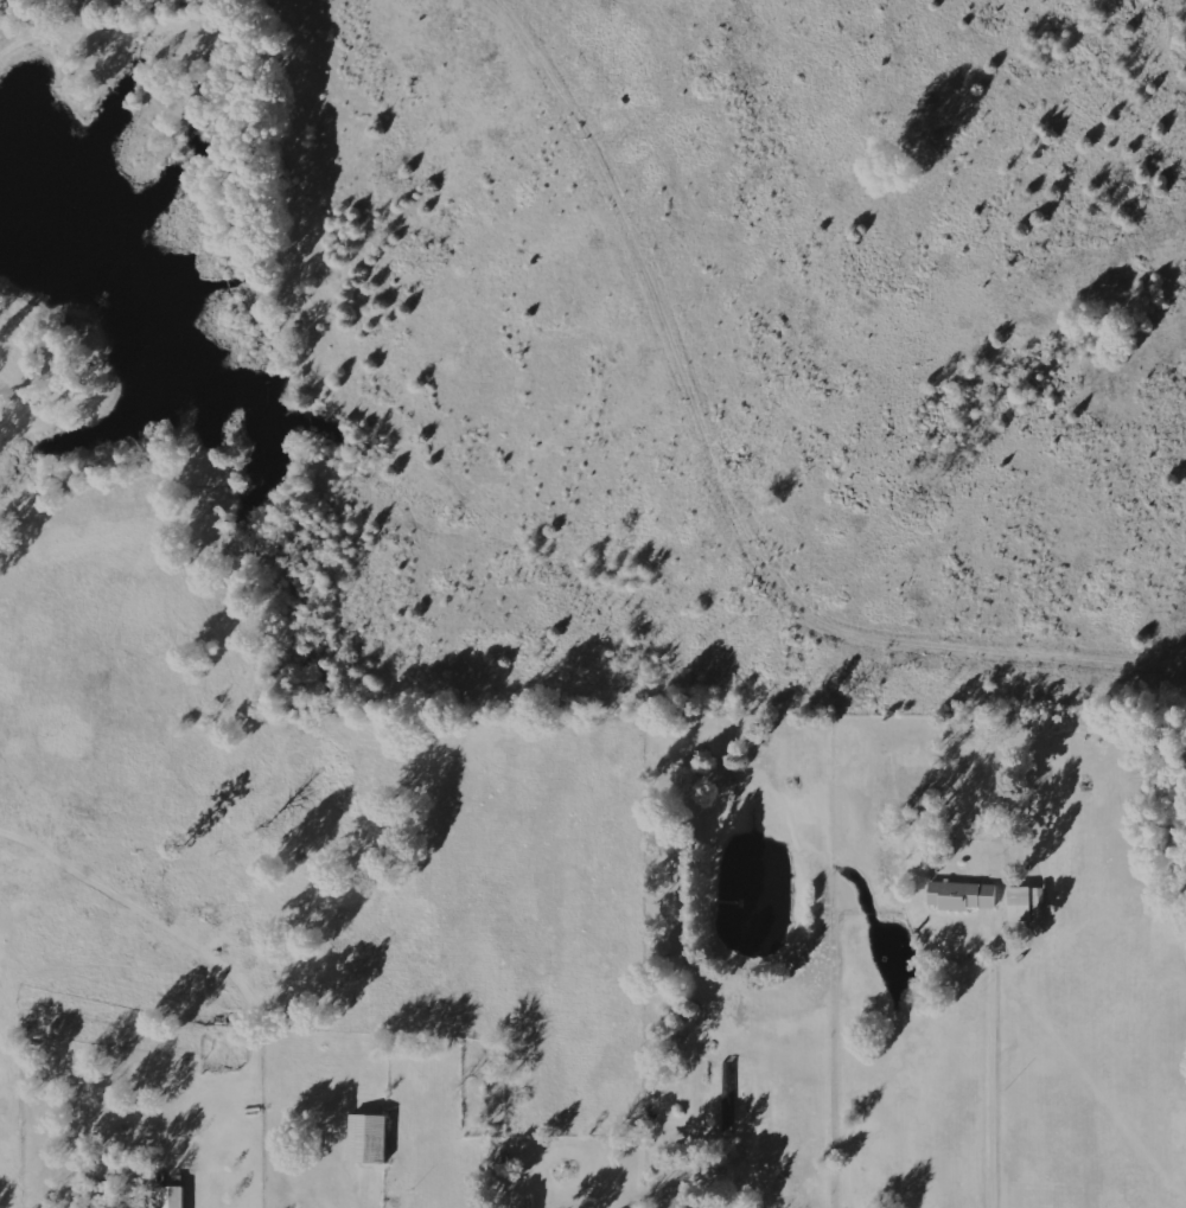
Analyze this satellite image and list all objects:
building: (961, 895)
building: (1024, 903)
building: (366, 1137)
building: (171, 1196)

